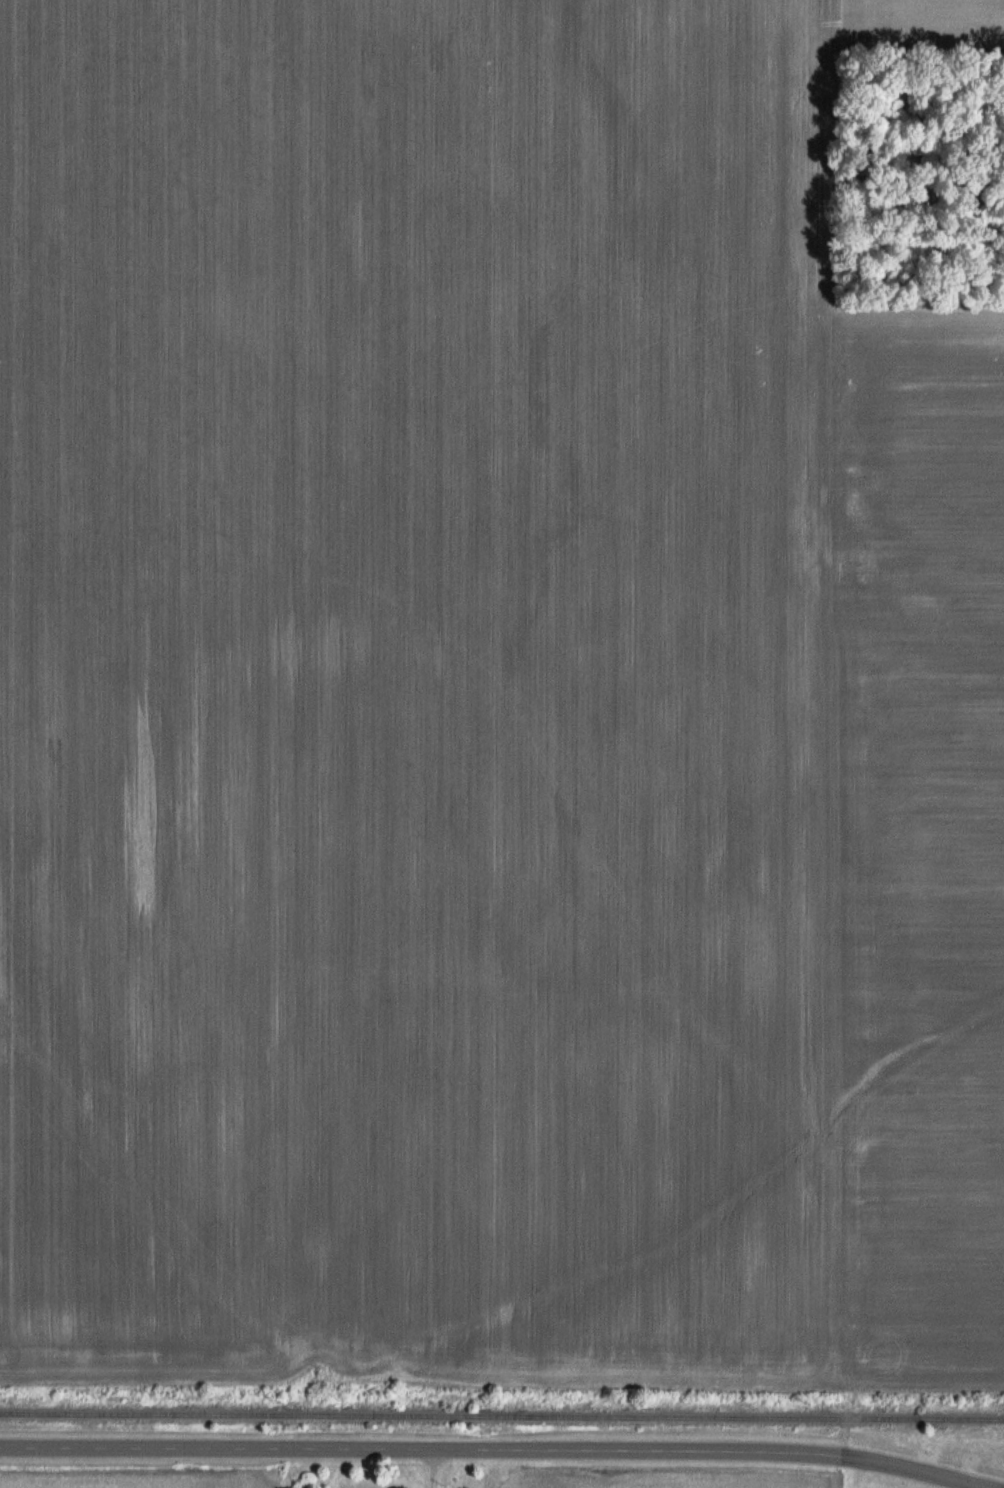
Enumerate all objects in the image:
railway: (502, 1416)
road: (358, 1451)
road: (849, 1459)

